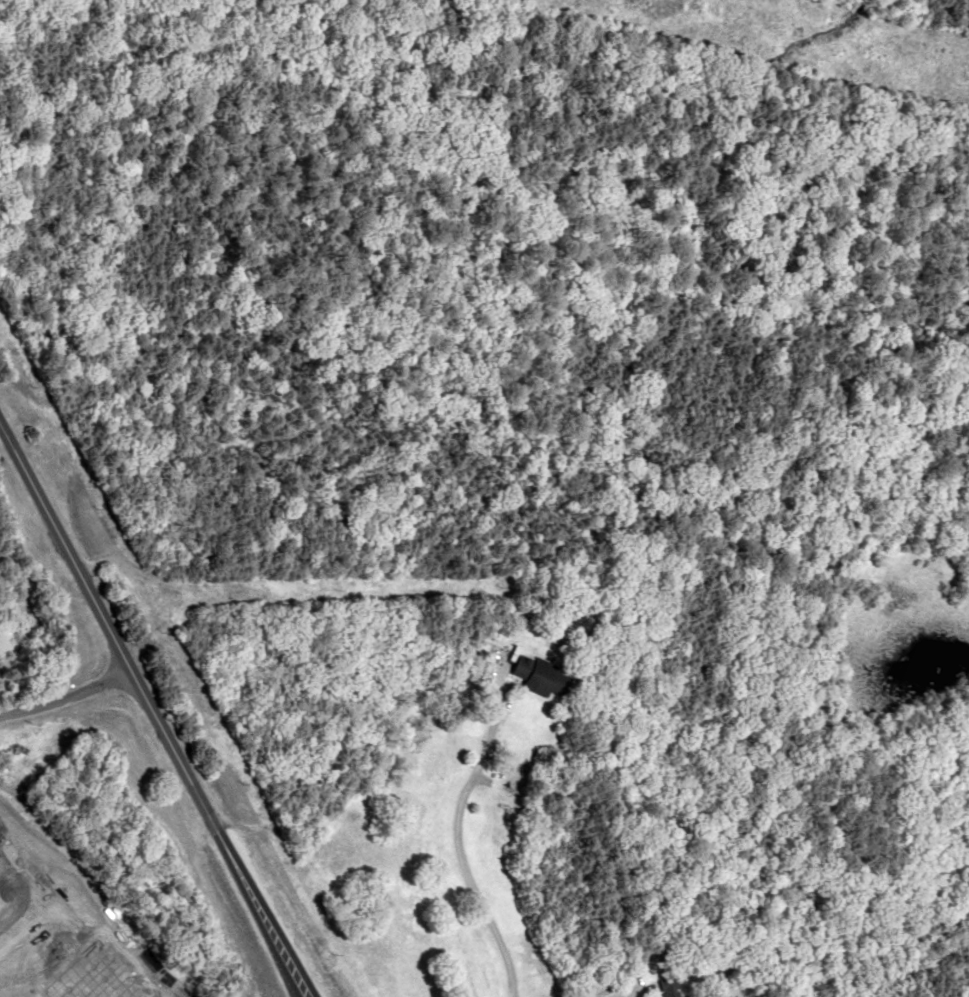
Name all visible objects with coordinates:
building: (541, 676)
road: (63, 694)
road: (153, 720)
road: (452, 845)
building: (666, 983)

